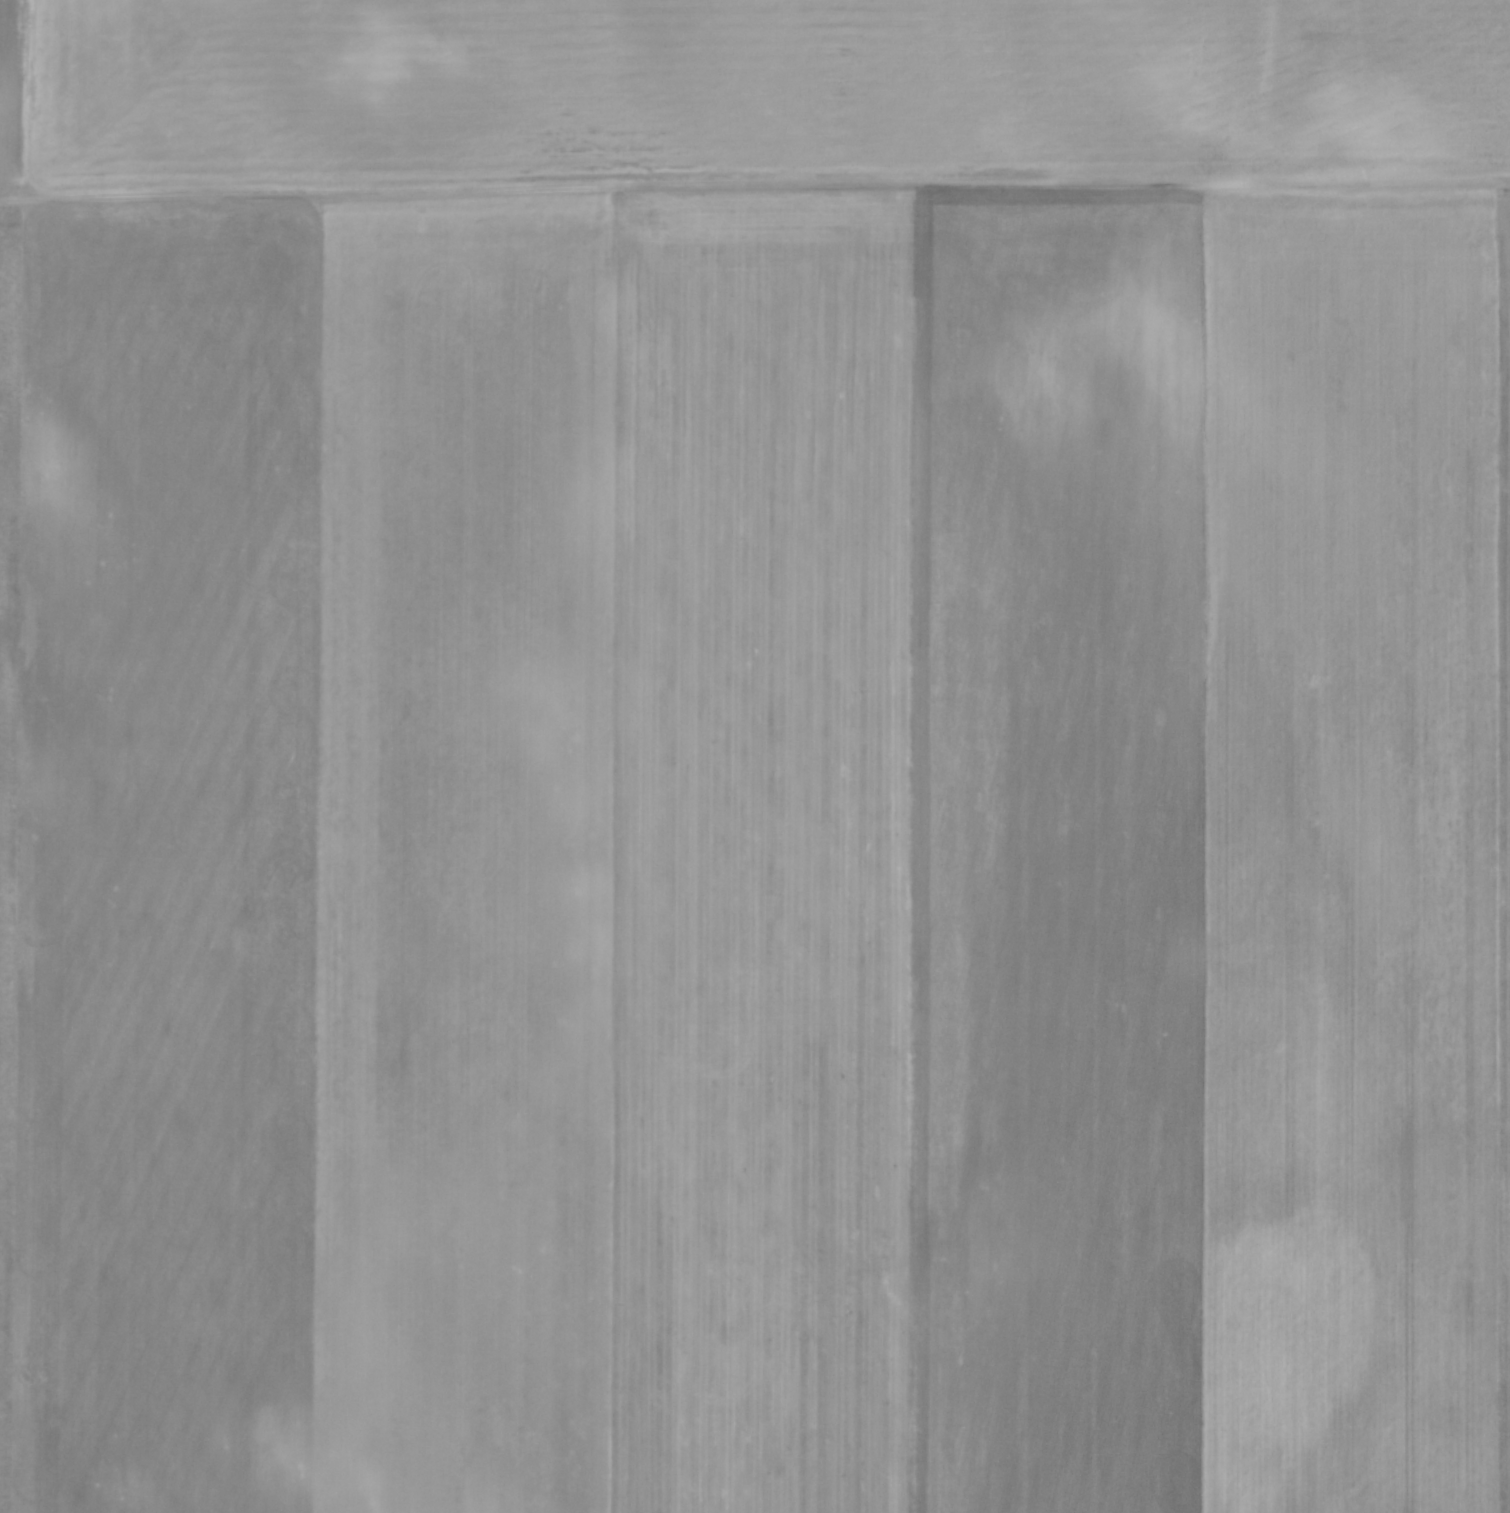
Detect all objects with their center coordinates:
road: (755, 182)
crop: (755, 756)

